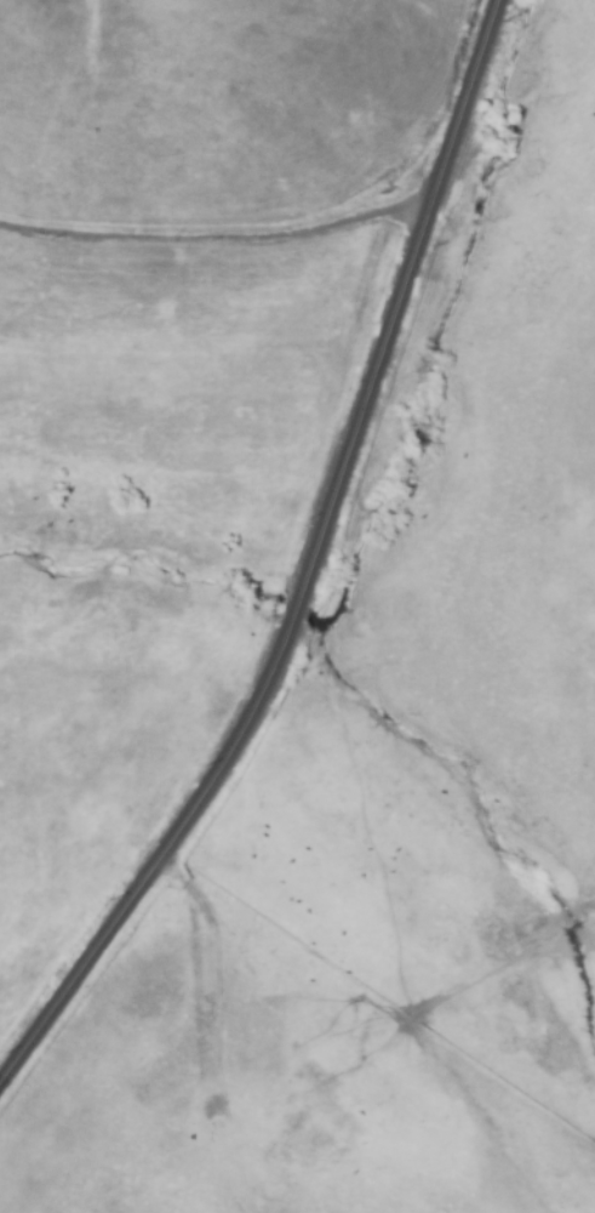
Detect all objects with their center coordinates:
road: (214, 226)
road: (305, 575)

